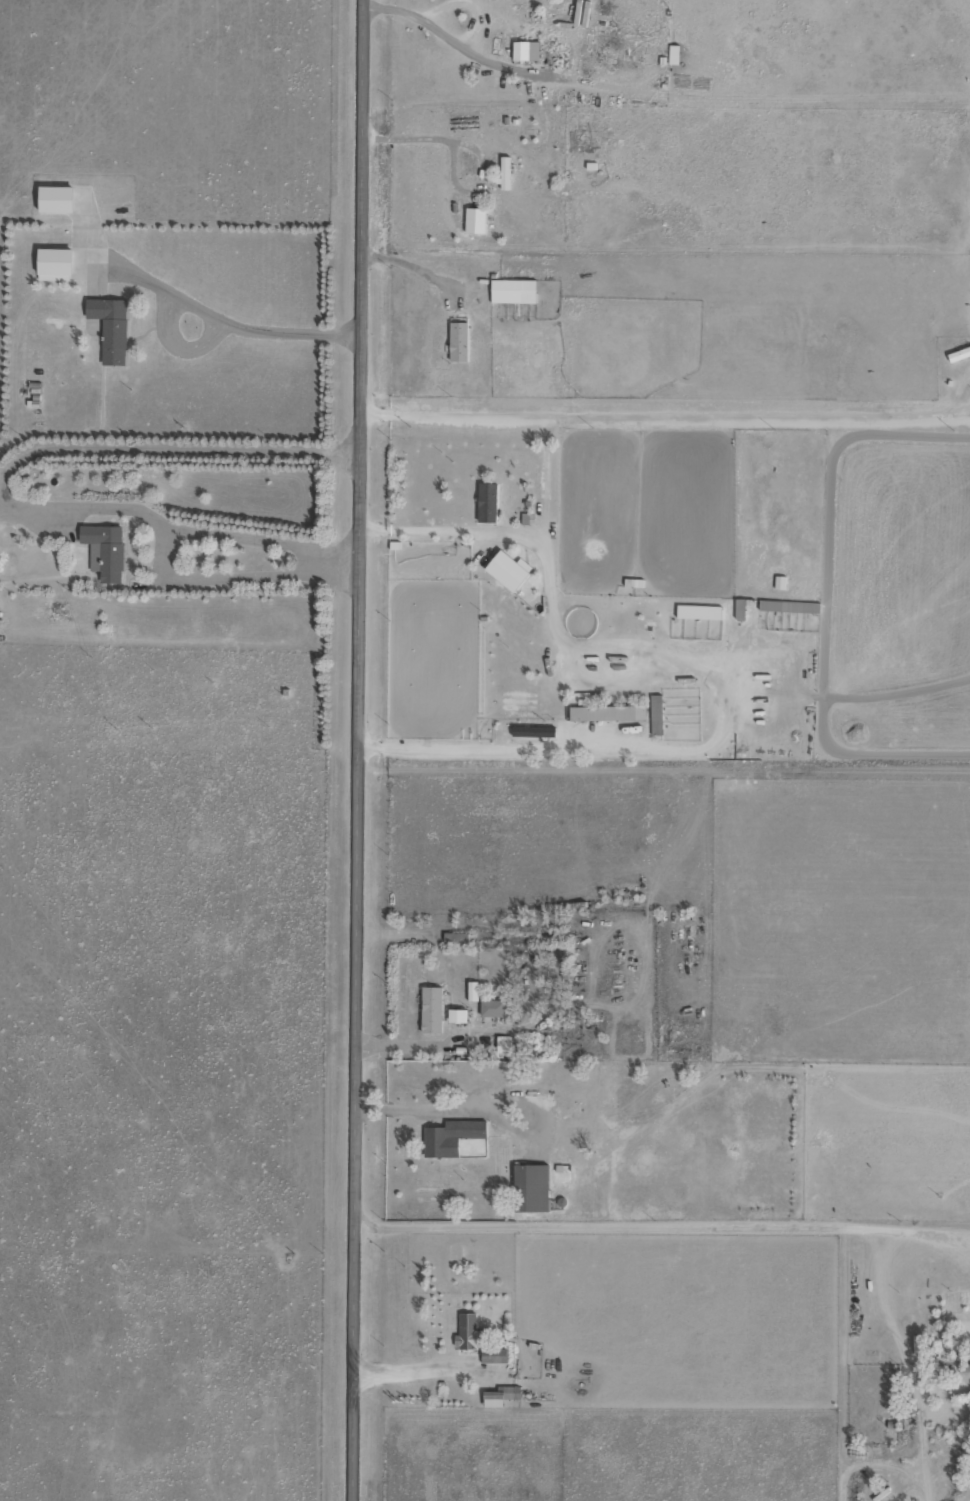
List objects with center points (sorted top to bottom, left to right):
building: (508, 20)
building: (522, 52)
building: (505, 173)
building: (475, 222)
building: (55, 265)
building: (514, 292)
building: (111, 328)
building: (459, 342)
building: (959, 355)
road: (664, 414)
road: (179, 477)
building: (488, 504)
building: (105, 551)
road: (482, 569)
building: (636, 583)
building: (789, 607)
building: (699, 613)
building: (608, 714)
building: (549, 733)
road: (355, 750)
building: (456, 939)
building: (493, 1009)
building: (432, 1010)
building: (457, 1016)
building: (563, 1025)
building: (451, 1138)
building: (531, 1189)
building: (478, 1341)
building: (503, 1394)

